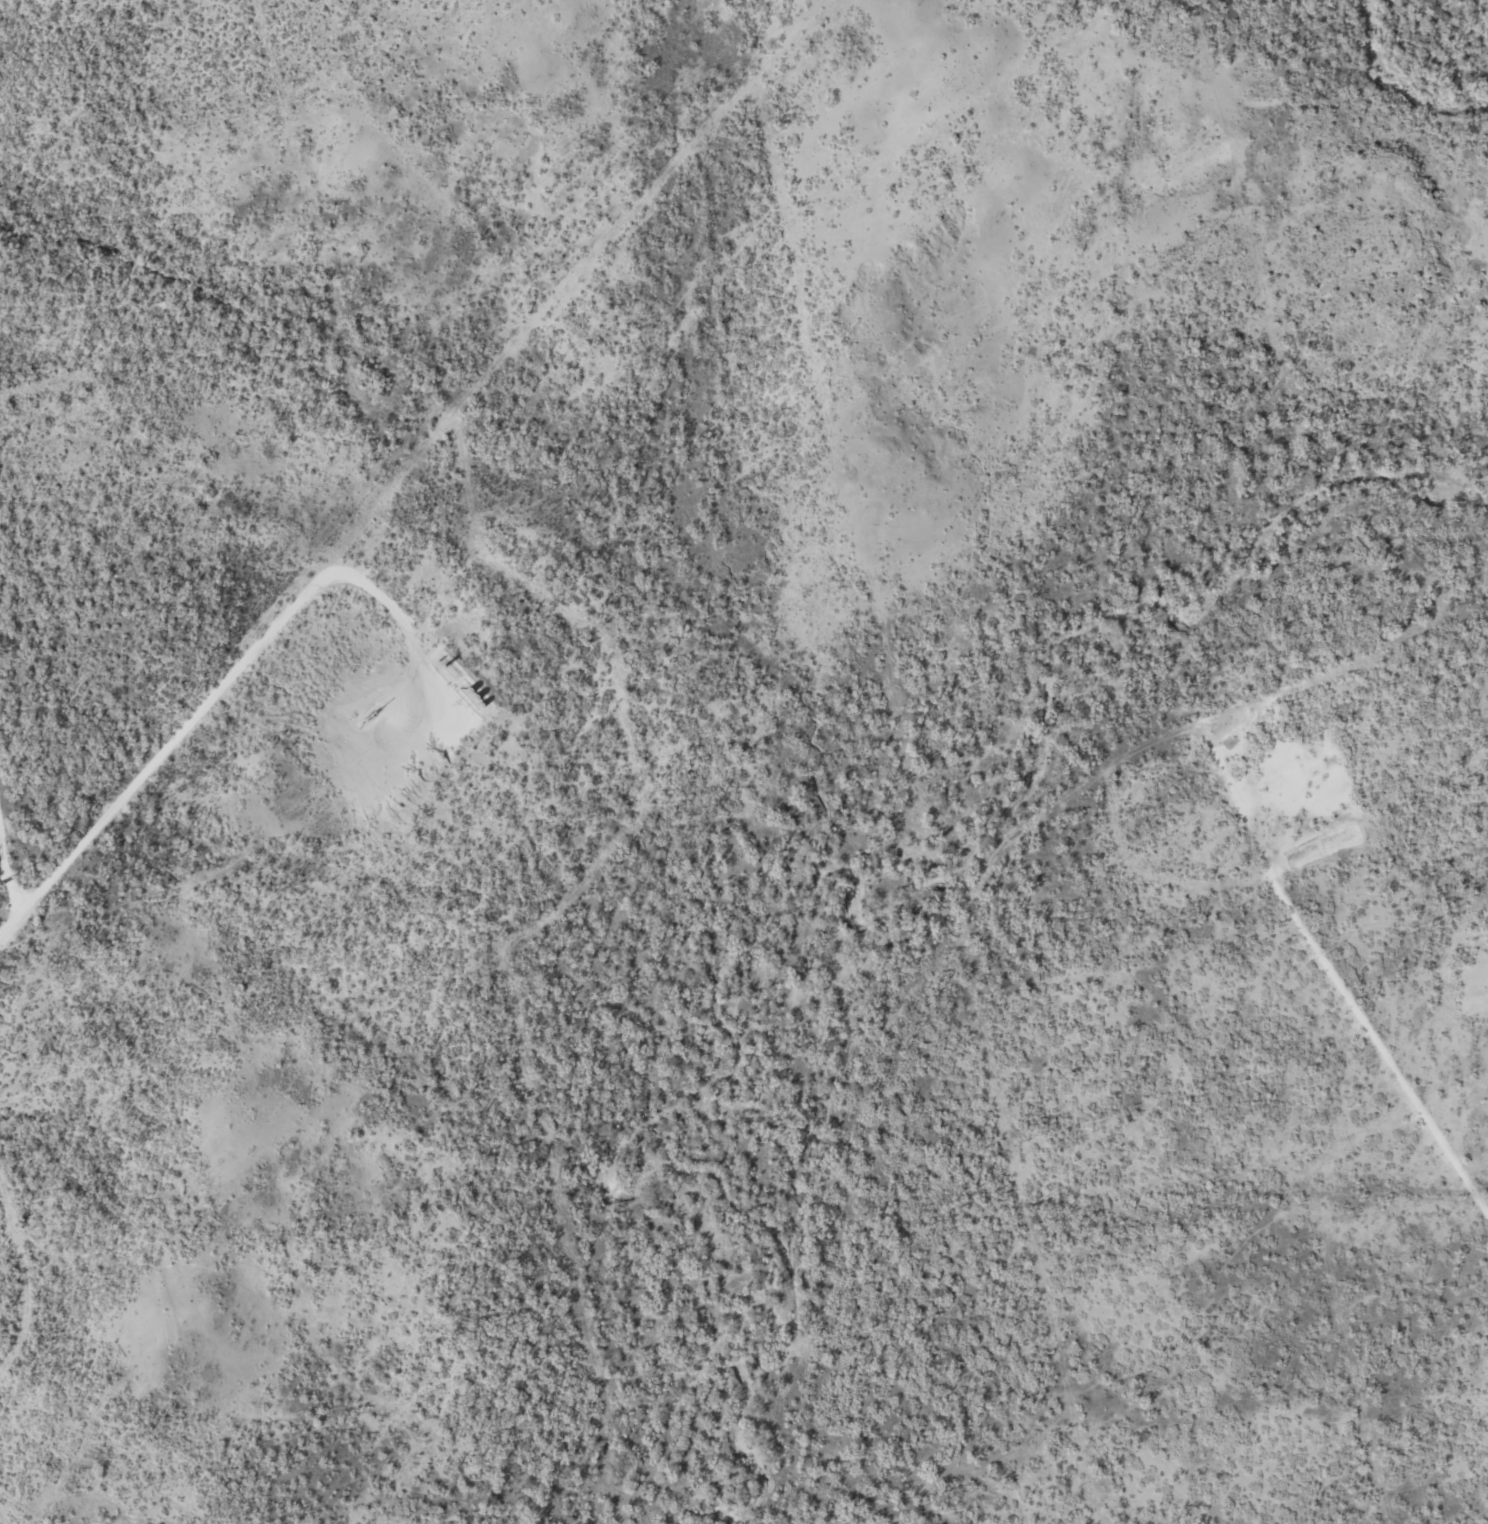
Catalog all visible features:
building: (1344, 835)

